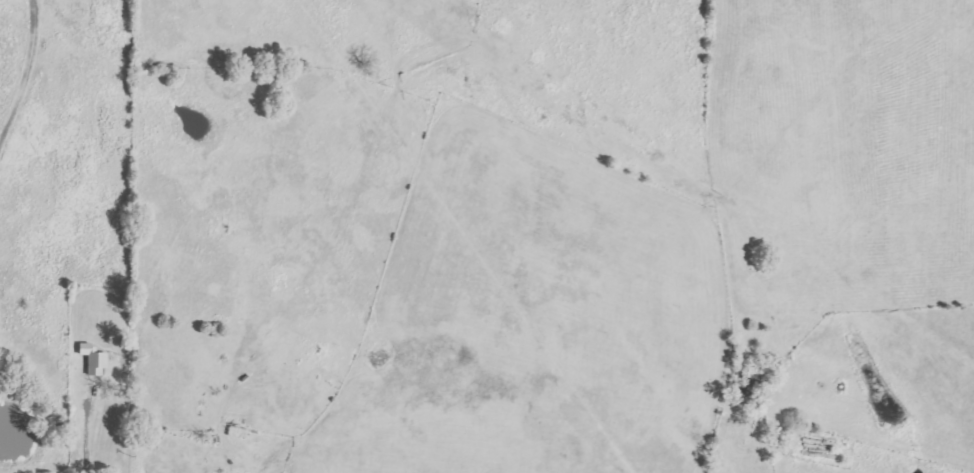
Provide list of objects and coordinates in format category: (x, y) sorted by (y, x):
building: (95, 360)

